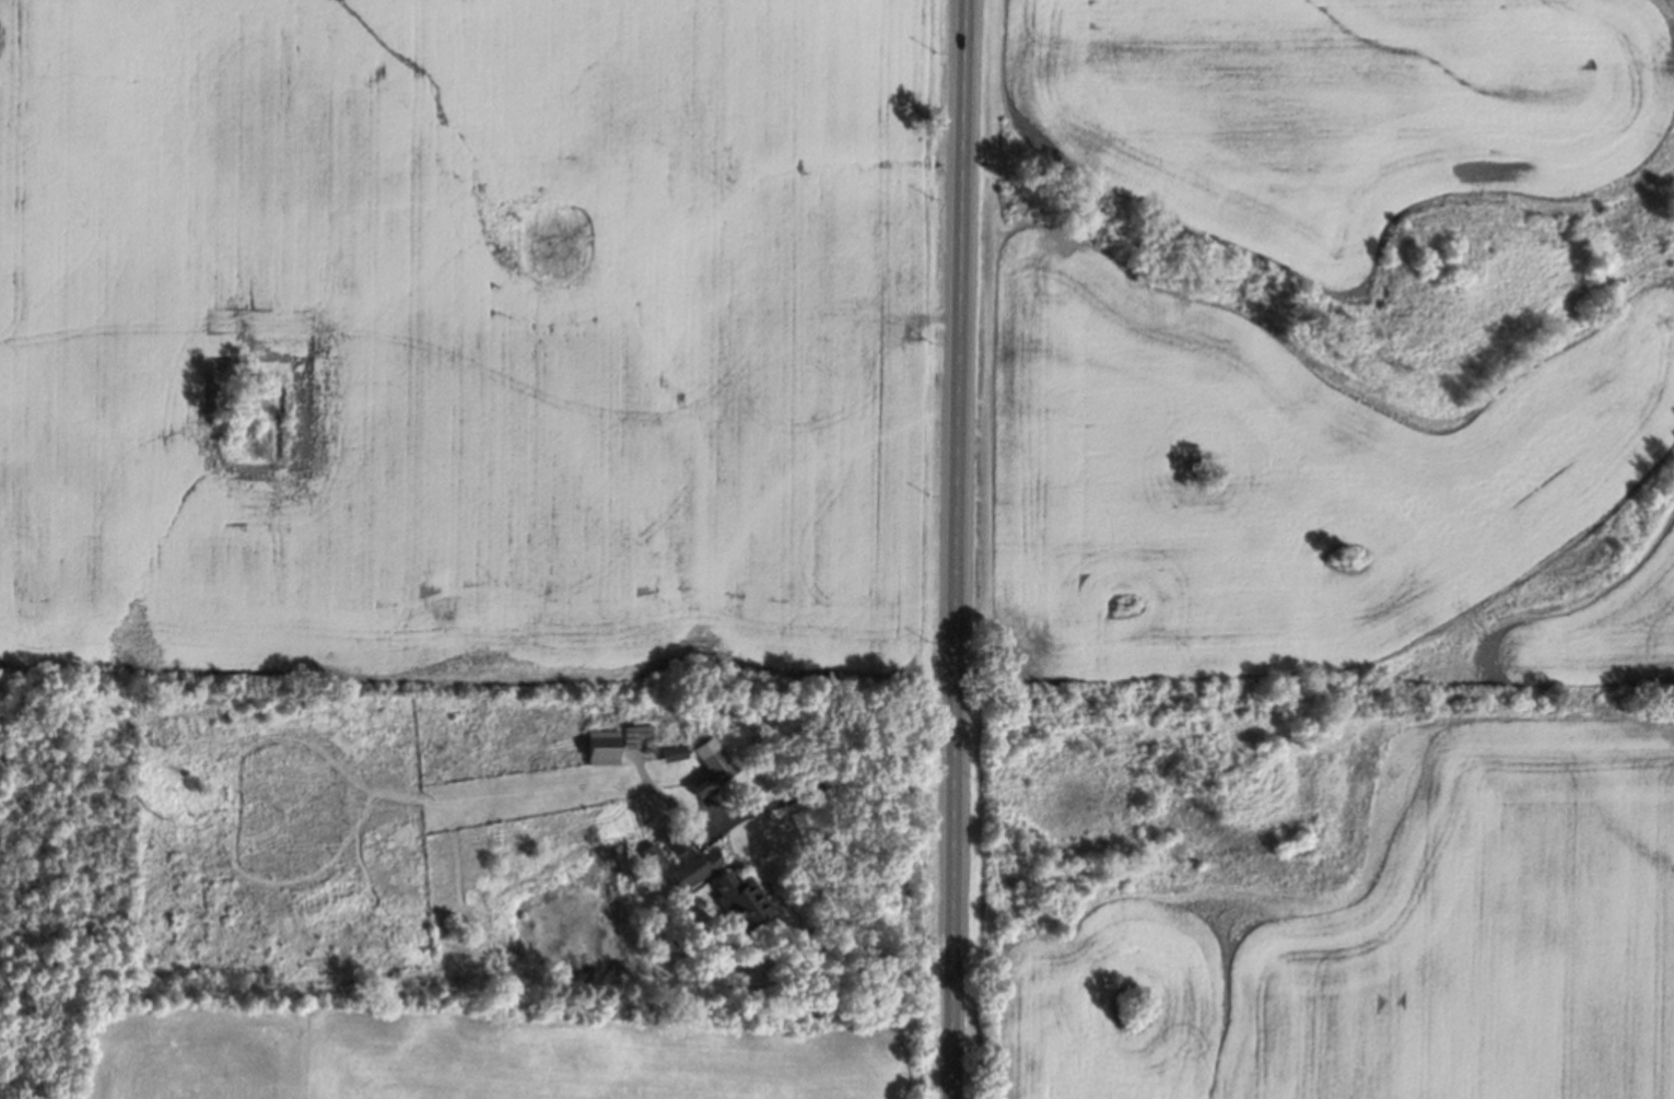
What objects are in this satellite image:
crop: (1346, 115)
crop: (468, 336)
crop: (1283, 480)
road: (961, 549)
crop: (1589, 635)
building: (602, 747)
building: (672, 752)
building: (711, 768)
road: (835, 776)
building: (666, 847)
building: (693, 868)
building: (741, 900)
crop: (1395, 944)
crop: (489, 1055)

